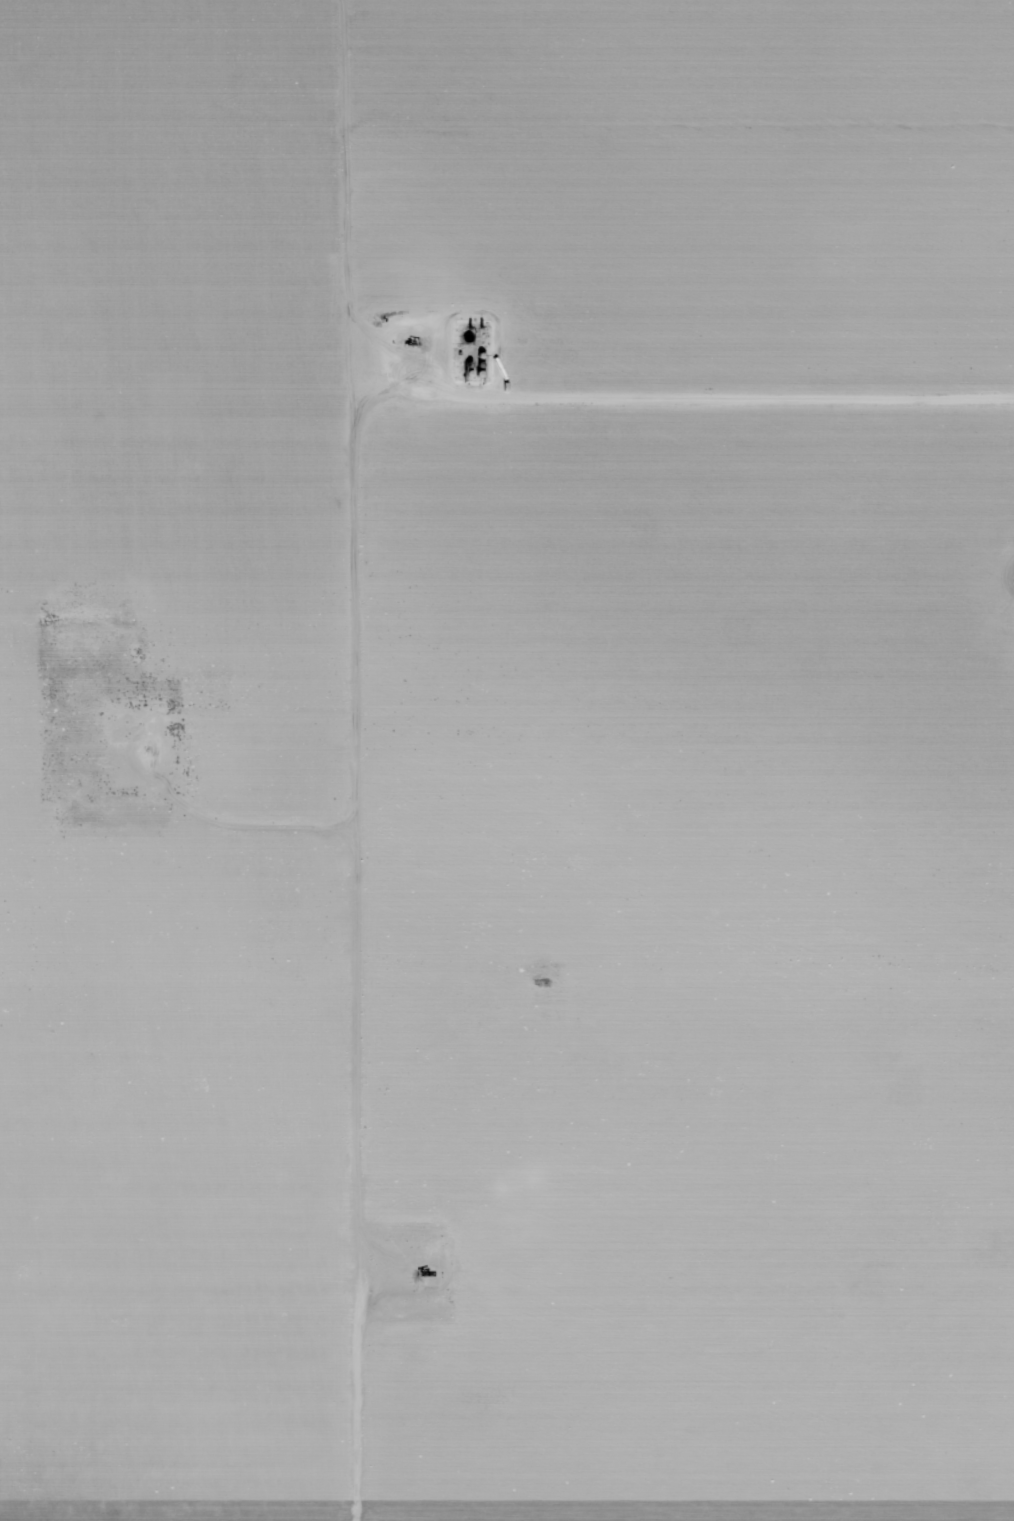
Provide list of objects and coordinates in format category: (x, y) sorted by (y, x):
road: (461, 420)
road: (354, 971)

